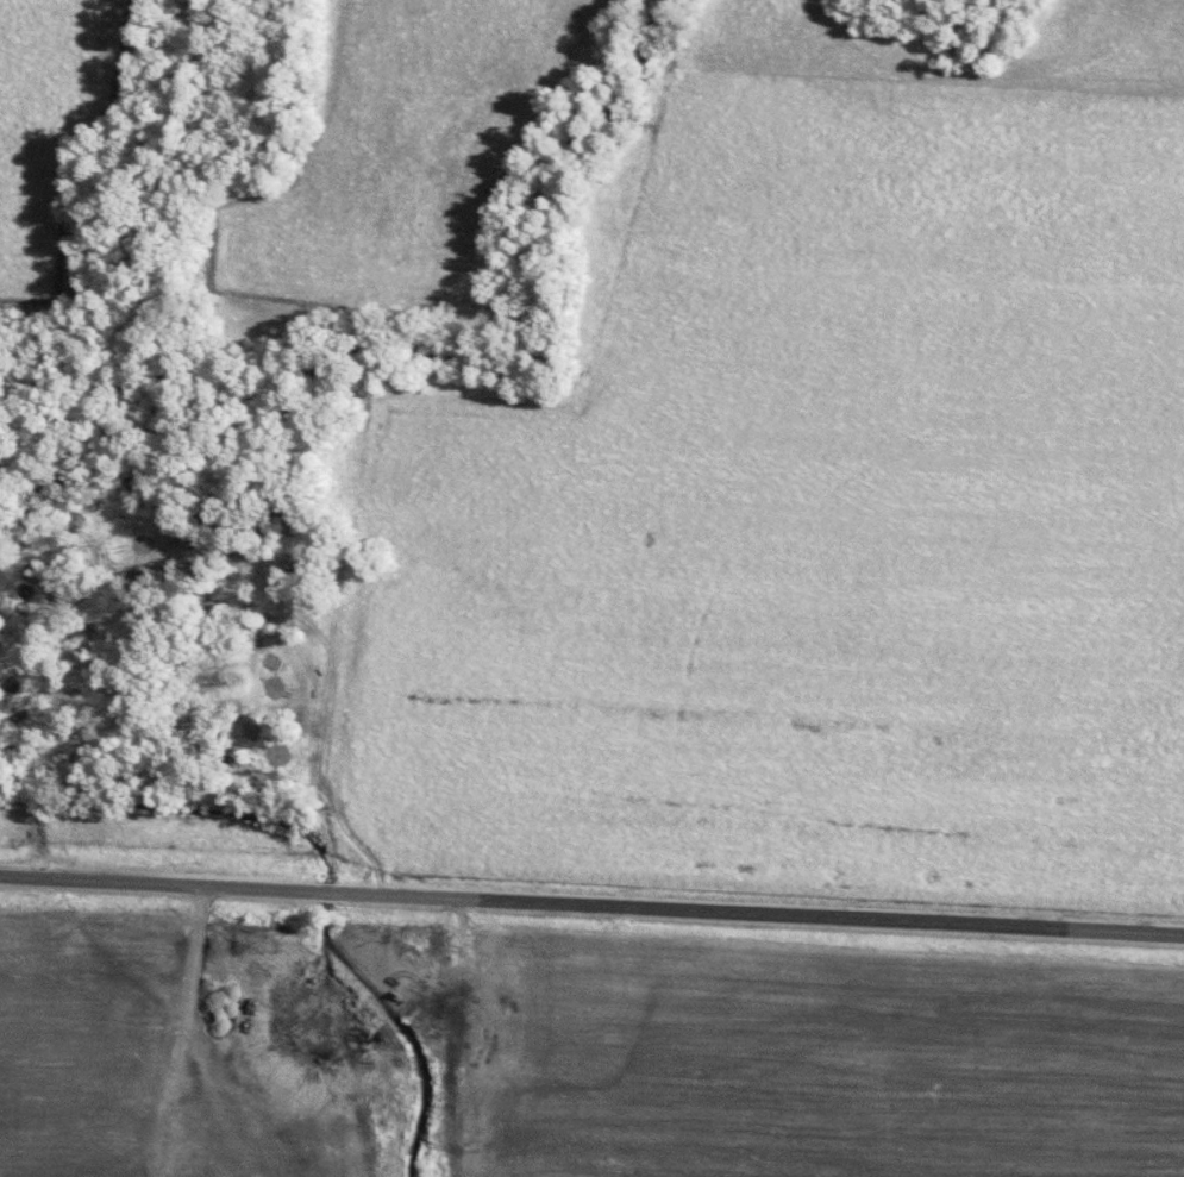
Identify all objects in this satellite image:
road: (591, 900)

